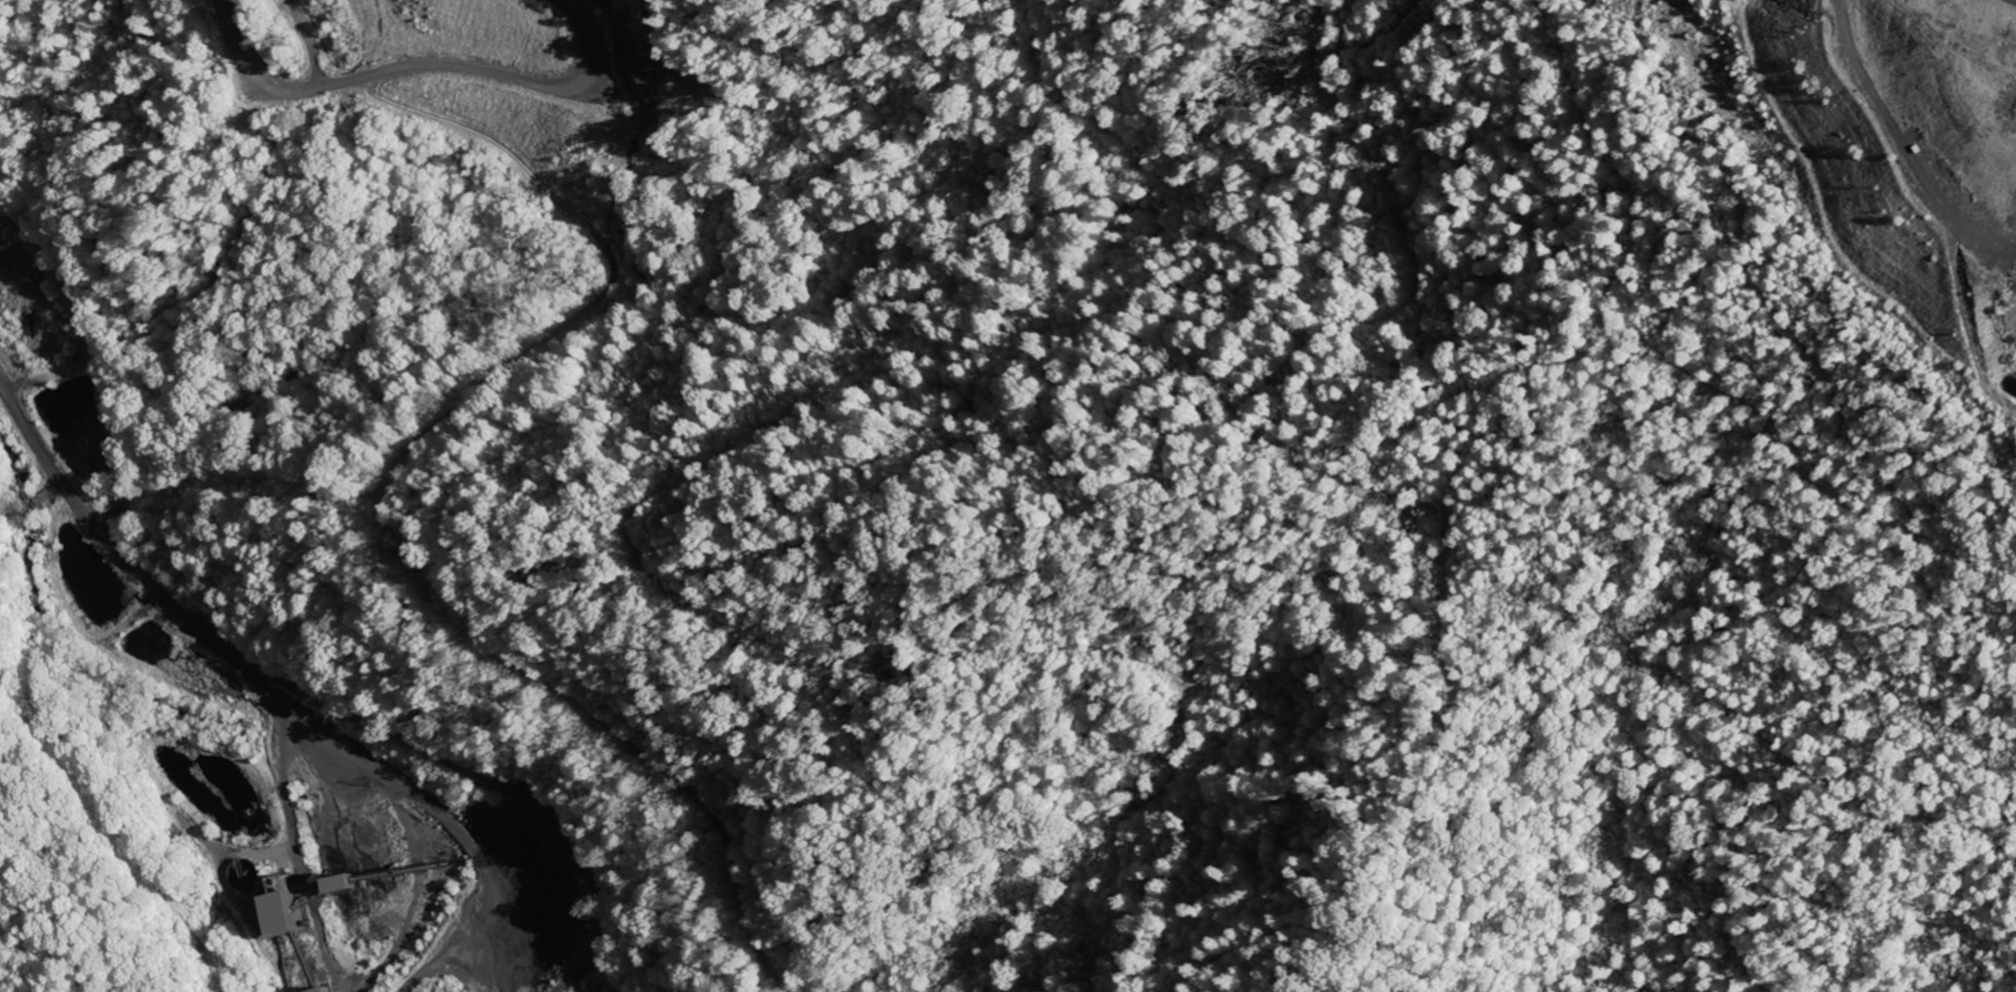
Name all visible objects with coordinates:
building: (318, 884)
building: (259, 899)
building: (315, 989)

